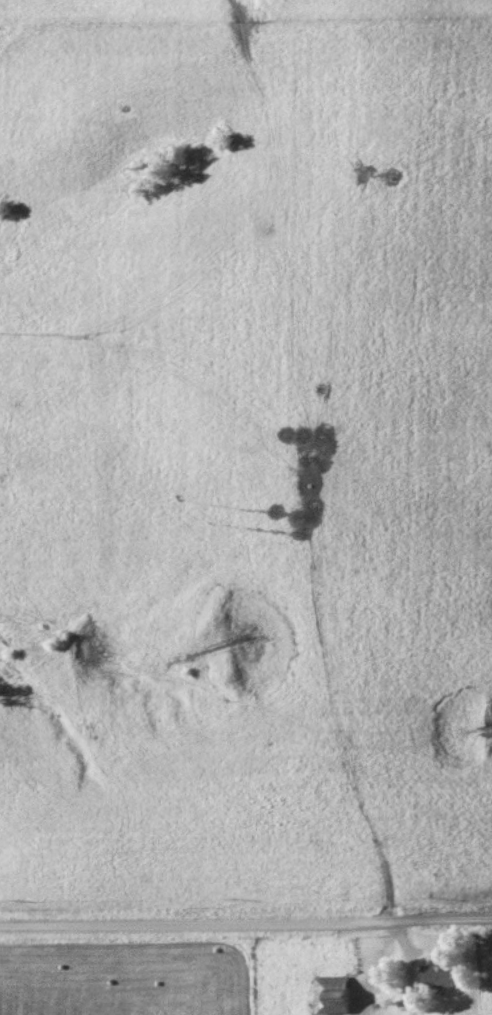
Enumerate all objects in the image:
road: (246, 923)
building: (440, 975)
building: (334, 994)

